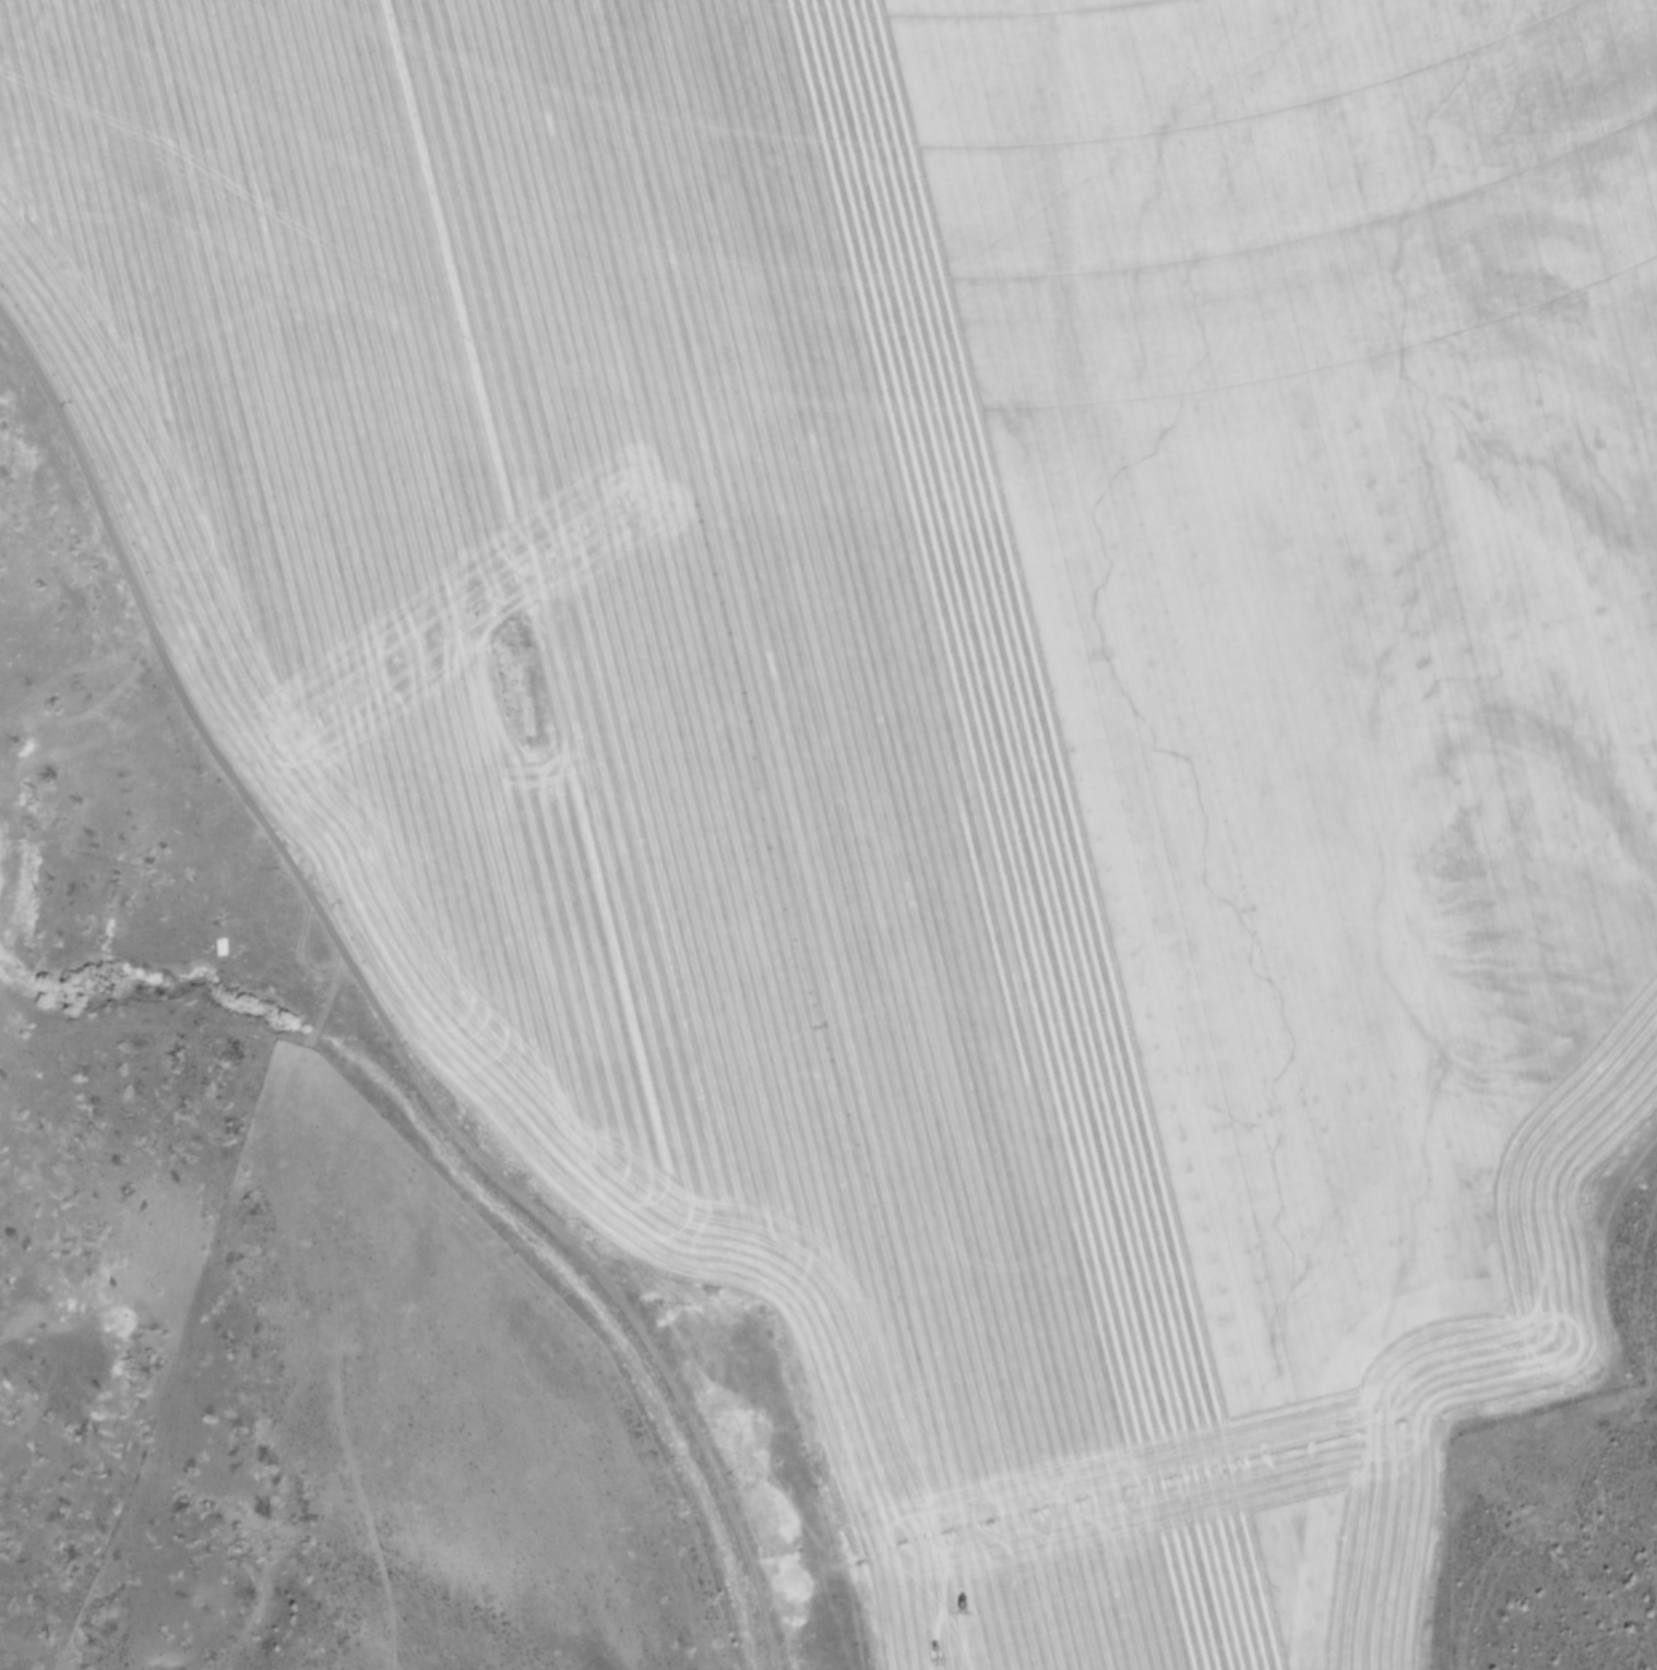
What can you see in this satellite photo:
crop: (940, 711)
road: (409, 974)

